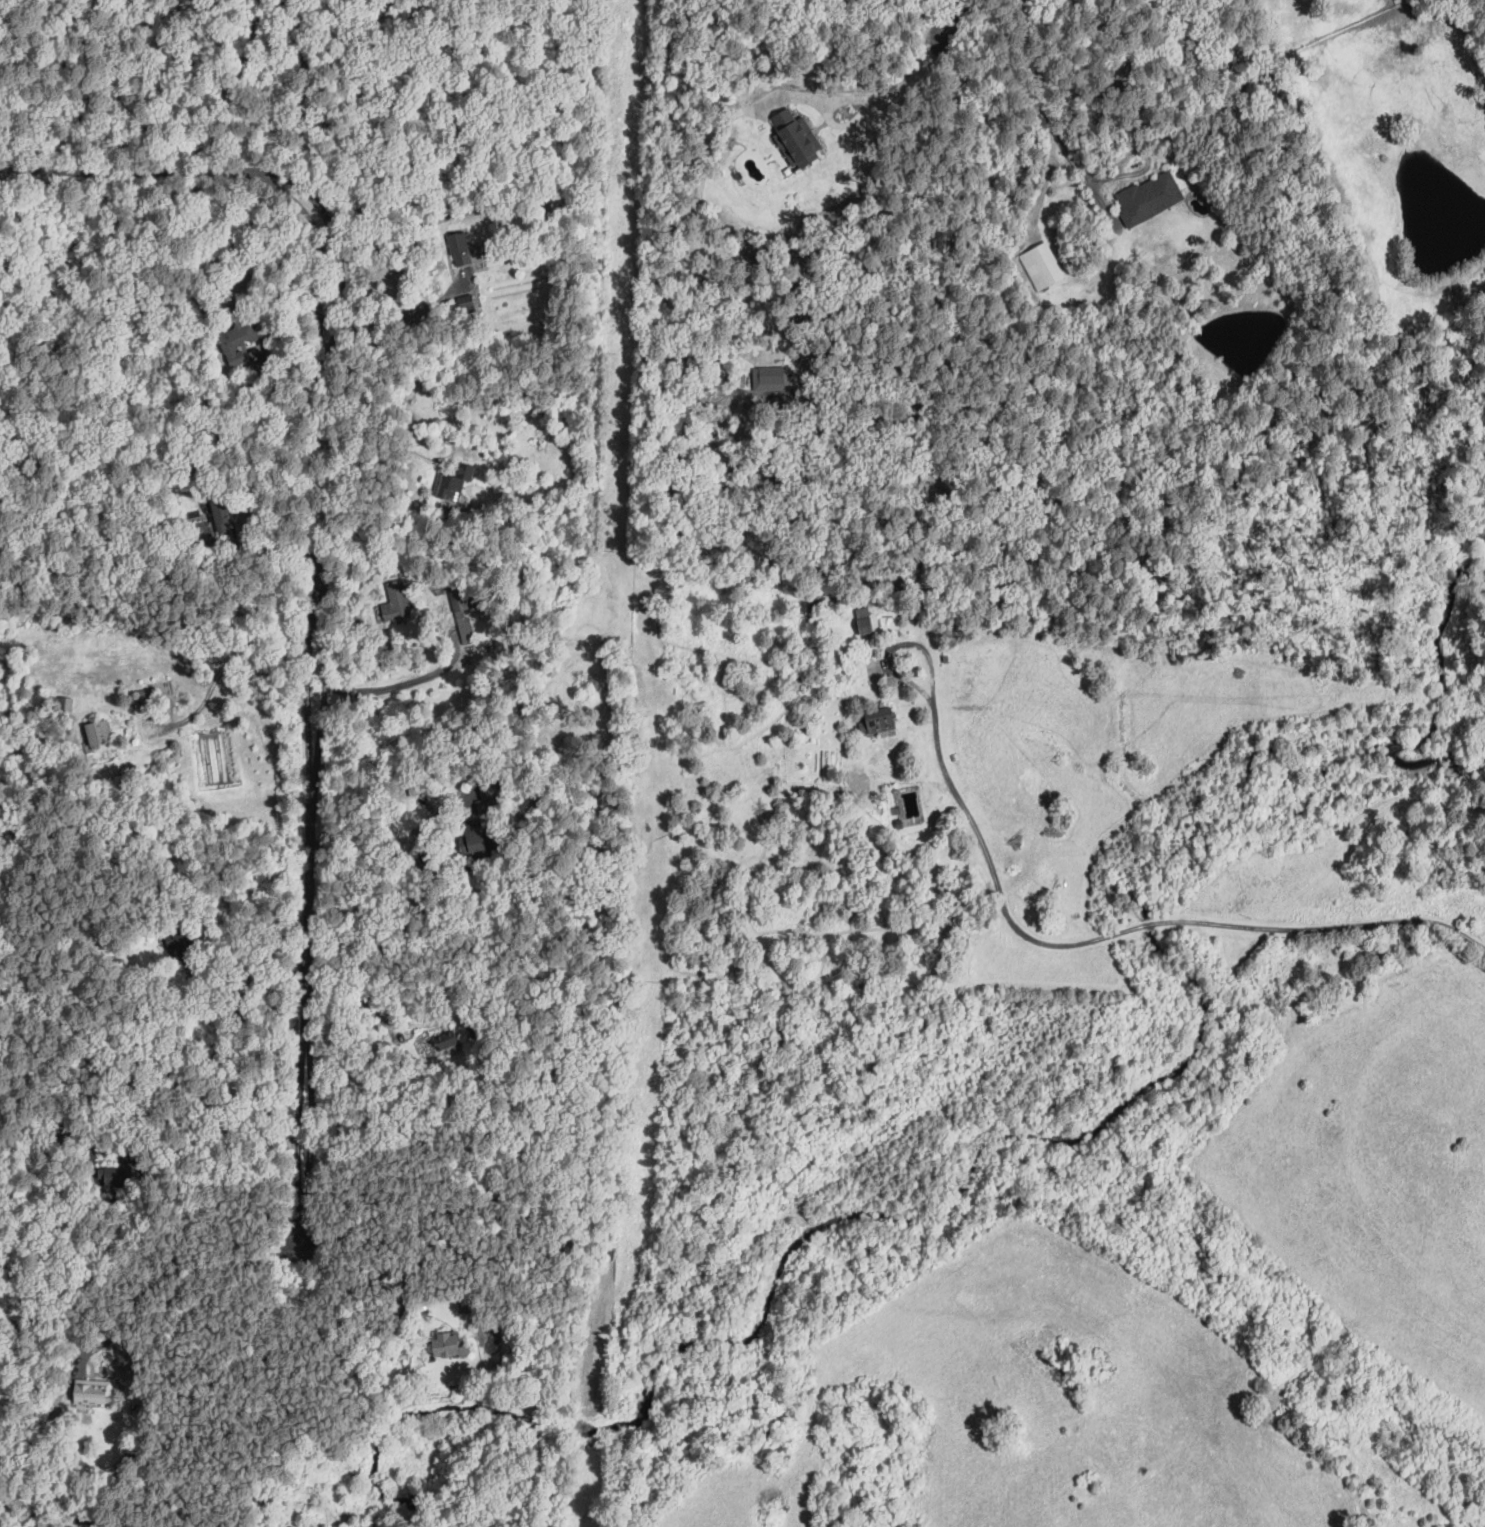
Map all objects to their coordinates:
road: (965, 13)
road: (229, 85)
road: (307, 91)
road: (886, 94)
road: (1050, 117)
building: (795, 137)
road: (138, 172)
building: (1148, 197)
building: (459, 247)
building: (1041, 264)
building: (467, 305)
building: (238, 340)
building: (769, 377)
road: (333, 472)
road: (317, 479)
building: (451, 483)
building: (220, 511)
road: (267, 547)
building: (394, 602)
building: (863, 620)
road: (899, 646)
road: (220, 669)
road: (397, 686)
building: (876, 719)
building: (97, 731)
road: (398, 859)
road: (1125, 930)
road: (262, 974)
road: (375, 1008)
road: (309, 1021)
building: (445, 1039)
road: (186, 1122)
road: (165, 1273)
building: (447, 1345)
building: (91, 1389)

